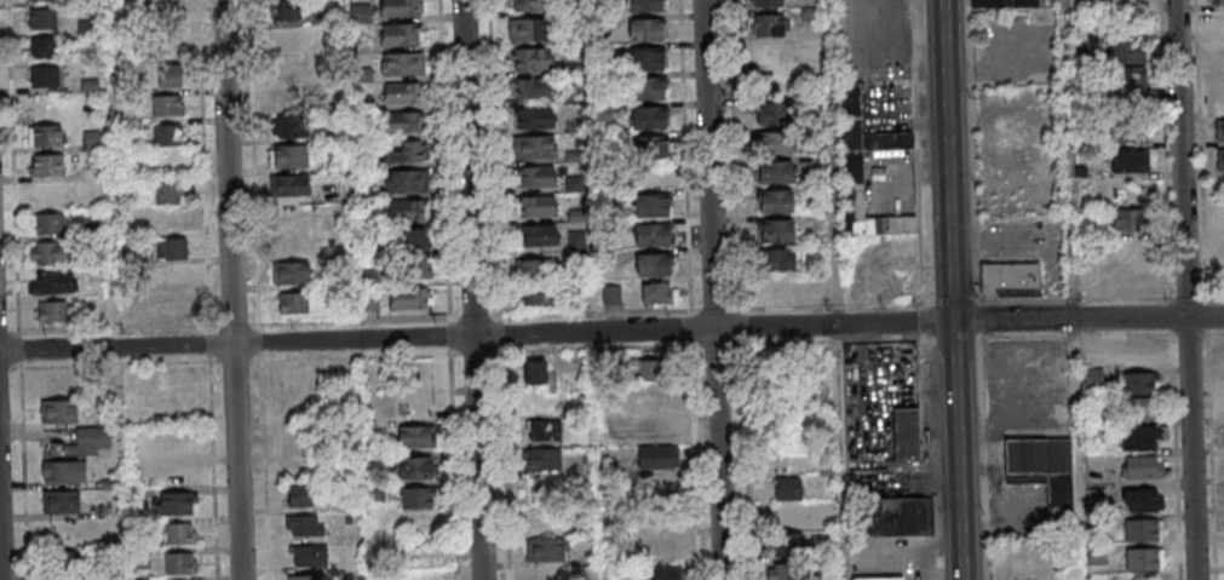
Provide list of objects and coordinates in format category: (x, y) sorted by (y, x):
building: (46, 0)
building: (1217, 2)
building: (769, 4)
building: (1005, 4)
building: (533, 6)
building: (648, 6)
building: (403, 8)
building: (287, 10)
building: (46, 19)
building: (1218, 24)
building: (768, 25)
building: (648, 30)
building: (531, 31)
building: (404, 35)
building: (287, 40)
building: (47, 48)
building: (649, 59)
building: (534, 61)
building: (406, 64)
building: (1125, 67)
building: (286, 71)
building: (168, 76)
building: (47, 77)
building: (535, 90)
building: (650, 90)
building: (406, 94)
building: (285, 97)
building: (172, 107)
building: (777, 115)
building: (651, 119)
building: (538, 120)
building: (408, 124)
building: (294, 127)
building: (1131, 131)
building: (1219, 132)
building: (171, 136)
building: (50, 137)
building: (92, 139)
building: (778, 144)
building: (538, 149)
building: (653, 149)
building: (409, 153)
building: (294, 157)
road: (496, 159)
building: (1130, 160)
building: (1220, 160)
road: (835, 162)
building: (51, 166)
building: (91, 170)
building: (777, 173)
road: (13, 174)
building: (538, 178)
building: (410, 183)
building: (852, 183)
road: (448, 184)
building: (295, 186)
road: (207, 188)
building: (171, 195)
building: (778, 202)
building: (655, 207)
building: (539, 208)
building: (406, 211)
building: (288, 214)
building: (1128, 220)
building: (173, 224)
building: (53, 225)
building: (780, 232)
building: (538, 235)
building: (655, 236)
building: (288, 243)
building: (176, 251)
building: (414, 253)
building: (54, 254)
road: (260, 257)
building: (781, 262)
building: (656, 268)
building: (531, 270)
building: (289, 272)
building: (1010, 281)
building: (58, 283)
building: (778, 288)
road: (235, 289)
road: (476, 289)
road: (718, 289)
road: (956, 289)
road: (1075, 289)
road: (1190, 289)
building: (659, 294)
building: (538, 295)
building: (611, 297)
building: (409, 298)
road: (1199, 298)
building: (370, 302)
building: (293, 303)
road: (958, 303)
building: (172, 308)
road: (717, 311)
building: (56, 314)
road: (597, 314)
road: (1208, 316)
road: (115, 329)
road: (611, 331)
road: (737, 345)
road: (596, 346)
building: (1092, 350)
building: (1139, 352)
road: (142, 363)
road: (10, 367)
building: (534, 371)
building: (656, 372)
building: (1143, 385)
building: (654, 401)
building: (1148, 410)
building: (62, 413)
building: (656, 430)
building: (906, 431)
building: (544, 432)
building: (420, 438)
building: (93, 440)
building: (1142, 440)
road: (1178, 440)
road: (747, 444)
road: (696, 446)
road: (507, 448)
road: (455, 449)
road: (216, 453)
road: (845, 453)
road: (1214, 456)
building: (661, 458)
building: (544, 461)
building: (420, 469)
building: (1145, 469)
road: (268, 470)
road: (24, 473)
building: (68, 473)
building: (788, 475)
building: (1047, 478)
building: (304, 496)
building: (423, 500)
building: (1148, 503)
building: (64, 504)
building: (182, 505)
road: (2, 507)
building: (896, 517)
building: (308, 527)
building: (1144, 532)
building: (182, 536)
building: (791, 545)
road: (932, 546)
building: (665, 549)
building: (547, 552)
building: (1096, 555)
building: (314, 558)
building: (1145, 561)
building: (67, 563)
building: (183, 565)
building: (786, 572)
building: (662, 573)
building: (546, 574)
building: (879, 578)
building: (138, 579)
building: (311, 579)

